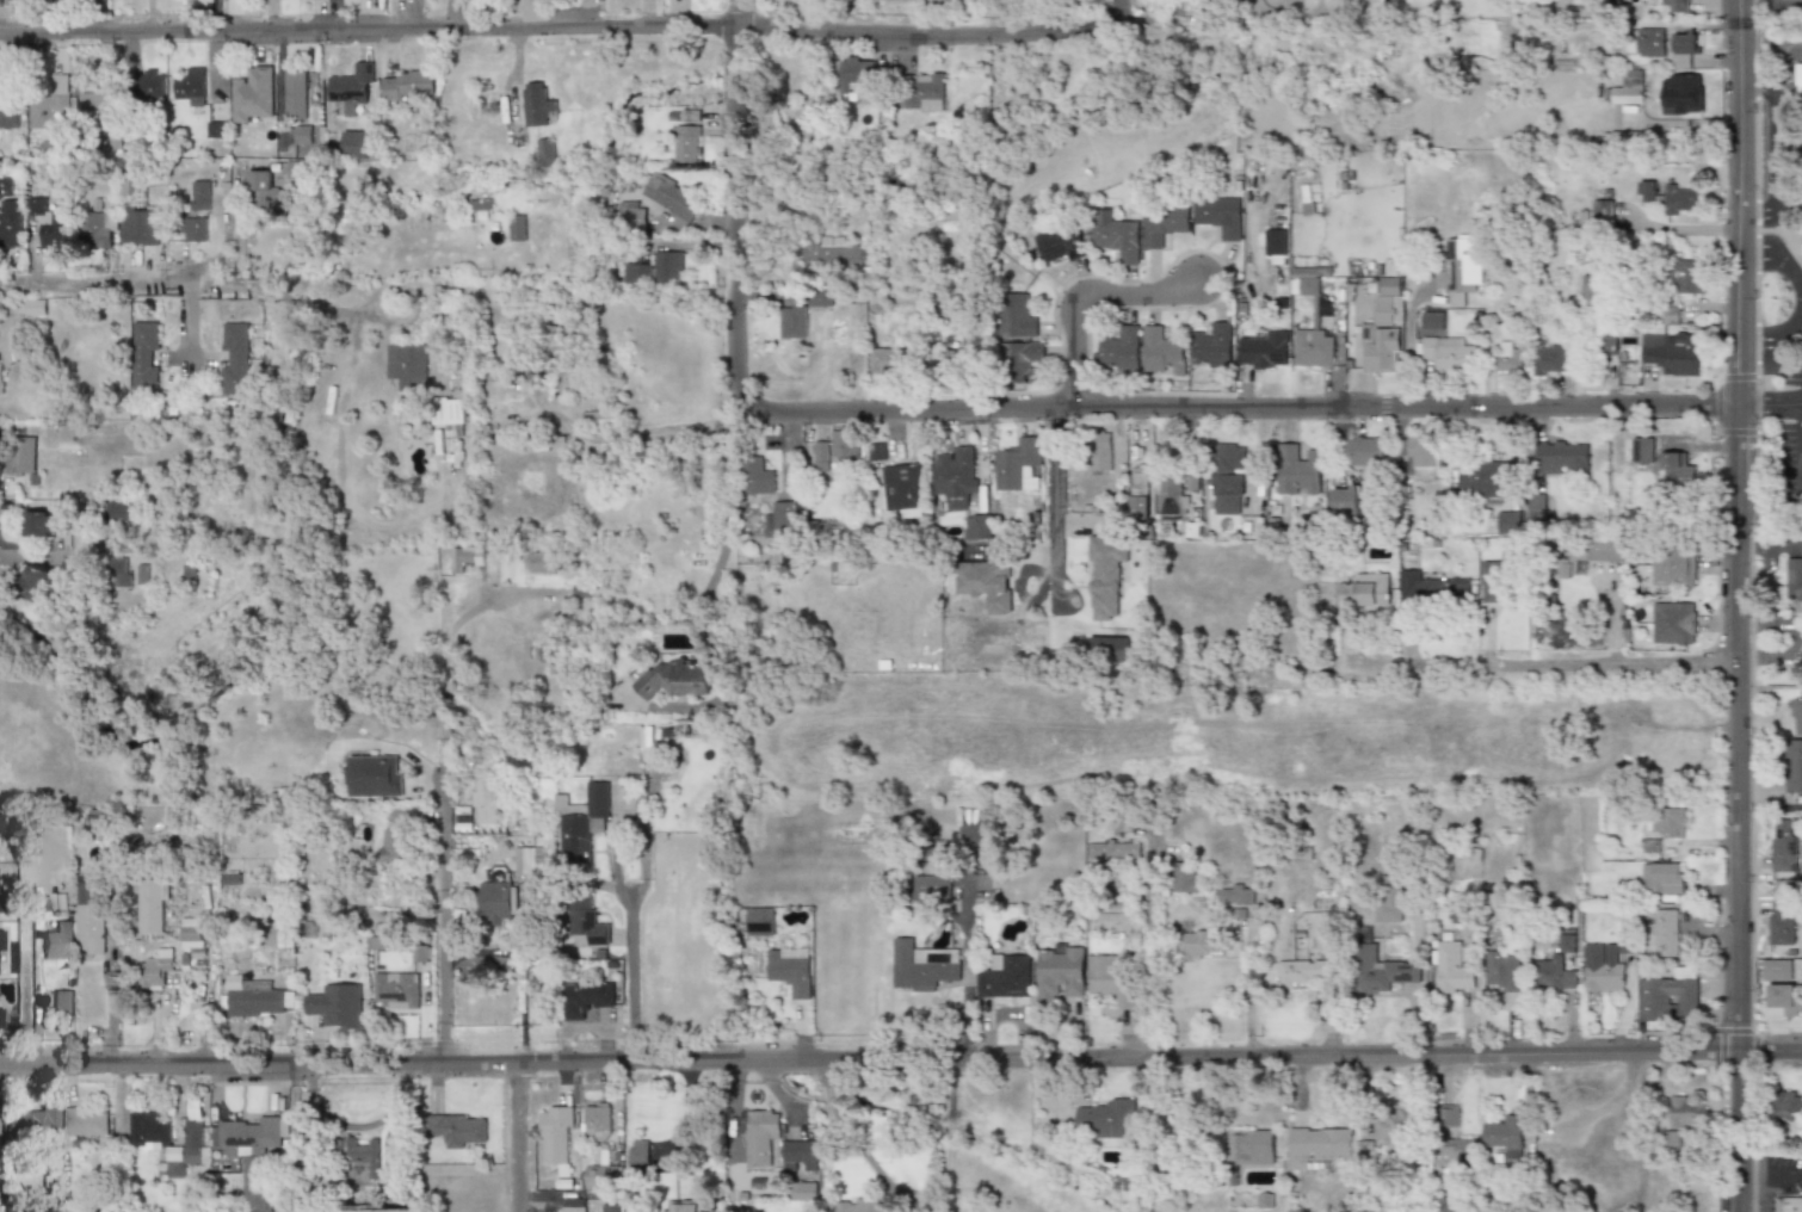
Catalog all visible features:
building: (885, 0)
building: (1582, 1)
building: (1676, 6)
road: (1767, 6)
road: (450, 12)
road: (53, 14)
road: (569, 23)
building: (1594, 42)
building: (1649, 42)
building: (1684, 49)
building: (853, 72)
building: (1798, 78)
building: (150, 82)
building: (189, 85)
building: (408, 86)
building: (351, 87)
building: (1627, 89)
building: (921, 92)
building: (1681, 93)
building: (253, 95)
building: (296, 95)
building: (49, 101)
building: (536, 105)
building: (8, 106)
building: (94, 106)
building: (216, 129)
building: (304, 135)
building: (1622, 140)
building: (689, 143)
building: (353, 144)
road: (1773, 147)
building: (543, 151)
building: (261, 188)
building: (1646, 192)
building: (200, 196)
building: (672, 197)
road: (732, 198)
building: (1680, 200)
building: (8, 211)
building: (1603, 211)
building: (632, 214)
building: (1218, 215)
building: (48, 219)
building: (1164, 224)
building: (138, 227)
building: (97, 228)
building: (193, 228)
building: (517, 228)
building: (1115, 236)
building: (1273, 241)
building: (1055, 243)
building: (832, 253)
road: (1779, 253)
building: (669, 267)
building: (1460, 270)
building: (638, 273)
building: (1686, 277)
building: (1304, 279)
road: (177, 280)
building: (1588, 287)
building: (820, 298)
road: (1086, 298)
building: (33, 307)
building: (1016, 316)
building: (1433, 320)
building: (794, 321)
building: (1384, 326)
road: (1408, 342)
building: (1606, 342)
road: (1778, 344)
building: (1211, 345)
building: (1313, 347)
building: (1121, 348)
building: (1161, 350)
building: (1264, 350)
building: (10, 351)
building: (1671, 351)
building: (1448, 354)
building: (144, 355)
building: (1020, 357)
building: (235, 358)
building: (1507, 358)
building: (1551, 358)
building: (887, 360)
building: (409, 364)
building: (0, 376)
road: (1769, 404)
road: (1232, 406)
building: (449, 412)
building: (601, 419)
road: (622, 434)
building: (845, 443)
building: (1364, 450)
building: (1640, 450)
building: (875, 451)
building: (1100, 451)
building: (821, 452)
road: (788, 453)
building: (1421, 453)
building: (1561, 457)
building: (1019, 465)
building: (1676, 469)
building: (1297, 470)
road: (2, 476)
building: (757, 476)
building: (955, 476)
building: (1480, 477)
building: (1228, 478)
building: (901, 489)
building: (1138, 491)
building: (1172, 495)
building: (1344, 500)
building: (1533, 506)
road: (1054, 508)
road: (722, 515)
building: (777, 521)
building: (1507, 521)
building: (39, 524)
building: (977, 527)
road: (1767, 543)
building: (1605, 550)
road: (24, 557)
building: (467, 557)
building: (1673, 567)
building: (116, 571)
building: (1103, 575)
building: (1494, 582)
building: (986, 583)
building: (37, 585)
building: (1794, 586)
building: (1431, 588)
building: (1364, 593)
road: (1734, 605)
building: (1672, 623)
building: (1109, 649)
road: (1542, 662)
road: (443, 673)
building: (673, 679)
building: (1796, 716)
building: (1794, 766)
building: (375, 775)
building: (487, 800)
building: (580, 822)
building: (1672, 822)
building: (977, 825)
building: (396, 837)
building: (1783, 842)
building: (1113, 851)
building: (529, 860)
building: (1184, 877)
building: (1661, 878)
building: (930, 890)
building: (1236, 896)
building: (1388, 898)
building: (498, 901)
building: (152, 905)
building: (91, 916)
building: (586, 920)
building: (760, 921)
building: (1117, 921)
building: (1782, 922)
road: (444, 923)
building: (191, 933)
building: (1662, 934)
building: (57, 940)
building: (0, 941)
building: (1568, 942)
road: (1148, 945)
building: (1198, 945)
road: (630, 951)
building: (419, 953)
building: (920, 966)
building: (156, 967)
road: (964, 967)
building: (1451, 969)
building: (1603, 969)
building: (789, 970)
building: (1380, 970)
building: (1776, 970)
building: (1059, 971)
building: (1303, 971)
building: (1554, 975)
building: (1005, 976)
building: (1504, 976)
building: (1110, 977)
building: (395, 990)
building: (1670, 996)
building: (255, 997)
building: (1784, 997)
building: (584, 998)
building: (62, 1002)
building: (337, 1004)
road: (205, 1007)
road: (901, 1060)
road: (826, 1074)
road: (827, 1090)
building: (1788, 1107)
building: (1685, 1113)
building: (1445, 1115)
building: (1105, 1118)
building: (84, 1121)
building: (597, 1121)
building: (31, 1126)
building: (457, 1128)
building: (1393, 1128)
building: (1505, 1132)
building: (249, 1133)
building: (556, 1134)
building: (759, 1136)
road: (949, 1136)
building: (166, 1137)
road: (517, 1138)
building: (1317, 1144)
building: (1251, 1146)
building: (641, 1152)
building: (1457, 1152)
building: (358, 1154)
building: (797, 1154)
road: (863, 1156)
road: (1764, 1173)
building: (599, 1175)
building: (258, 1187)
building: (1790, 1204)
building: (574, 1205)
building: (858, 1205)
building: (684, 1208)
building: (1446, 1210)
building: (610, 1211)

